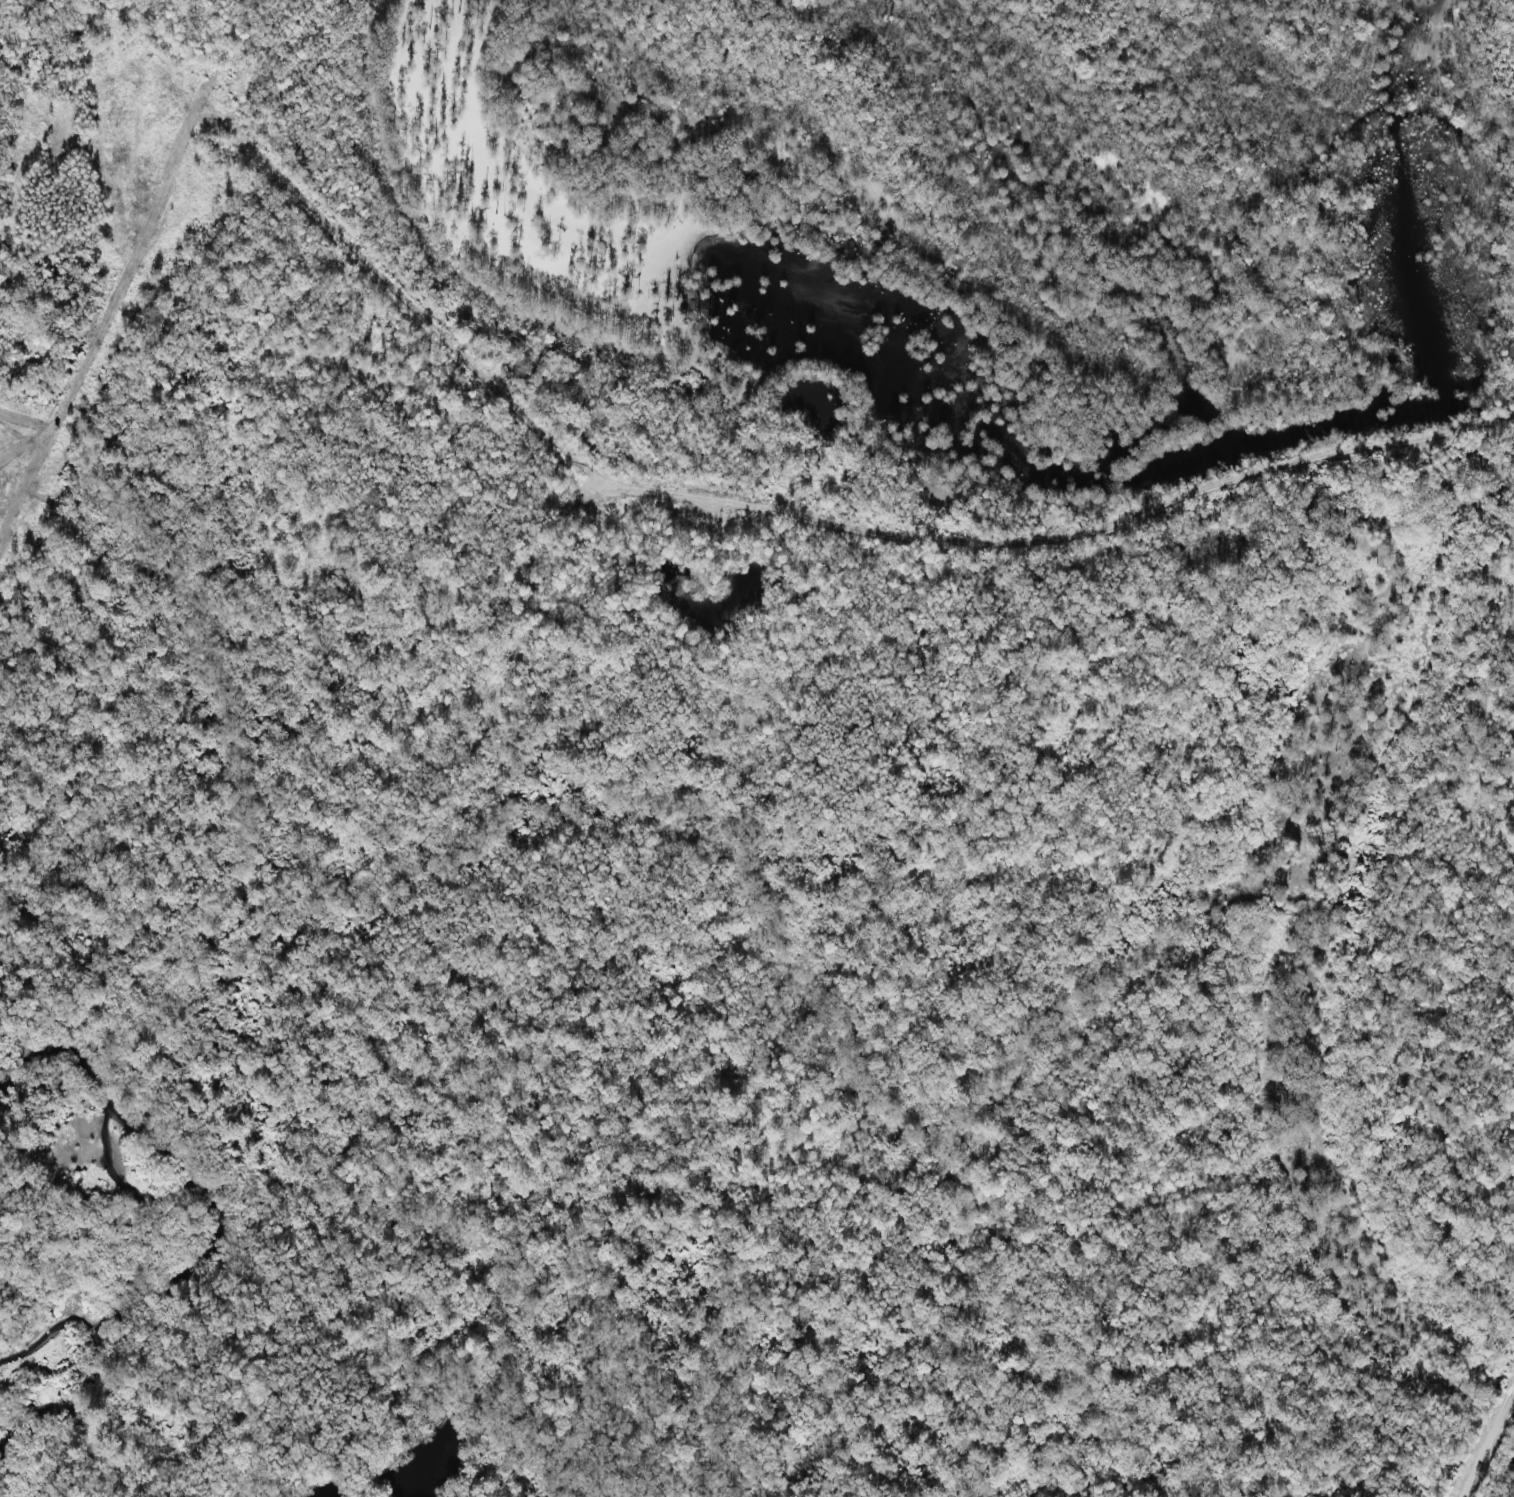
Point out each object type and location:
road: (1483, 1440)

